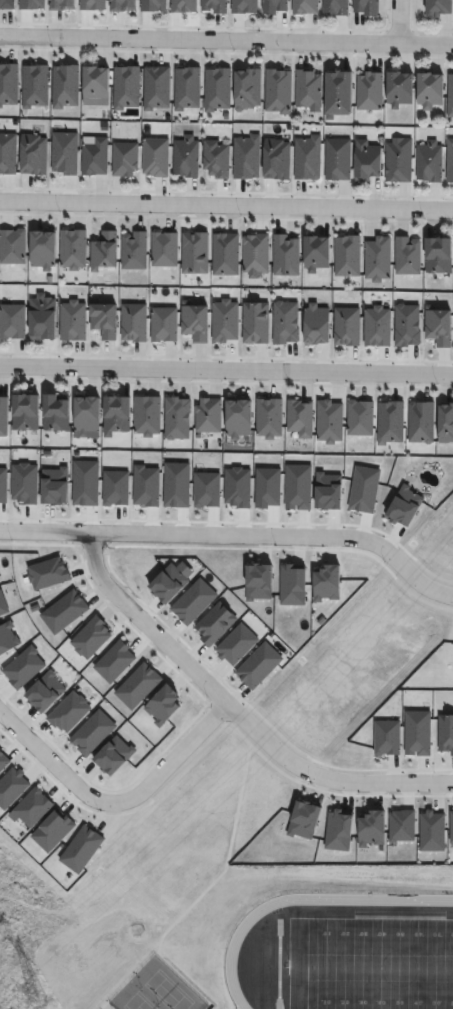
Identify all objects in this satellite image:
building: (6, 4)
building: (151, 5)
building: (214, 5)
building: (242, 6)
building: (274, 6)
building: (305, 6)
building: (335, 7)
building: (366, 7)
building: (439, 7)
road: (400, 22)
road: (226, 41)
building: (96, 82)
building: (400, 88)
building: (307, 89)
building: (370, 90)
building: (431, 90)
building: (277, 91)
building: (339, 93)
building: (450, 93)
building: (94, 156)
building: (185, 156)
building: (155, 157)
building: (124, 158)
building: (214, 158)
building: (337, 159)
building: (398, 159)
building: (365, 160)
building: (429, 161)
road: (226, 207)
building: (42, 250)
building: (72, 250)
building: (164, 250)
building: (103, 252)
building: (194, 253)
building: (258, 253)
building: (318, 253)
building: (227, 254)
building: (438, 255)
building: (346, 256)
building: (406, 257)
building: (377, 259)
building: (43, 318)
building: (72, 321)
building: (103, 321)
building: (12, 322)
building: (133, 322)
building: (194, 322)
building: (163, 324)
road: (226, 371)
building: (25, 410)
building: (115, 414)
building: (56, 415)
building: (210, 415)
building: (86, 417)
building: (147, 417)
building: (302, 417)
building: (3, 418)
building: (176, 418)
building: (238, 418)
road: (235, 541)
building: (47, 573)
building: (62, 611)
building: (90, 637)
building: (113, 661)
building: (137, 685)
building: (162, 705)
road: (237, 719)
road: (116, 806)
track: (346, 956)
park: (370, 964)
park: (166, 985)
park: (132, 997)
power tower: (33, 999)

